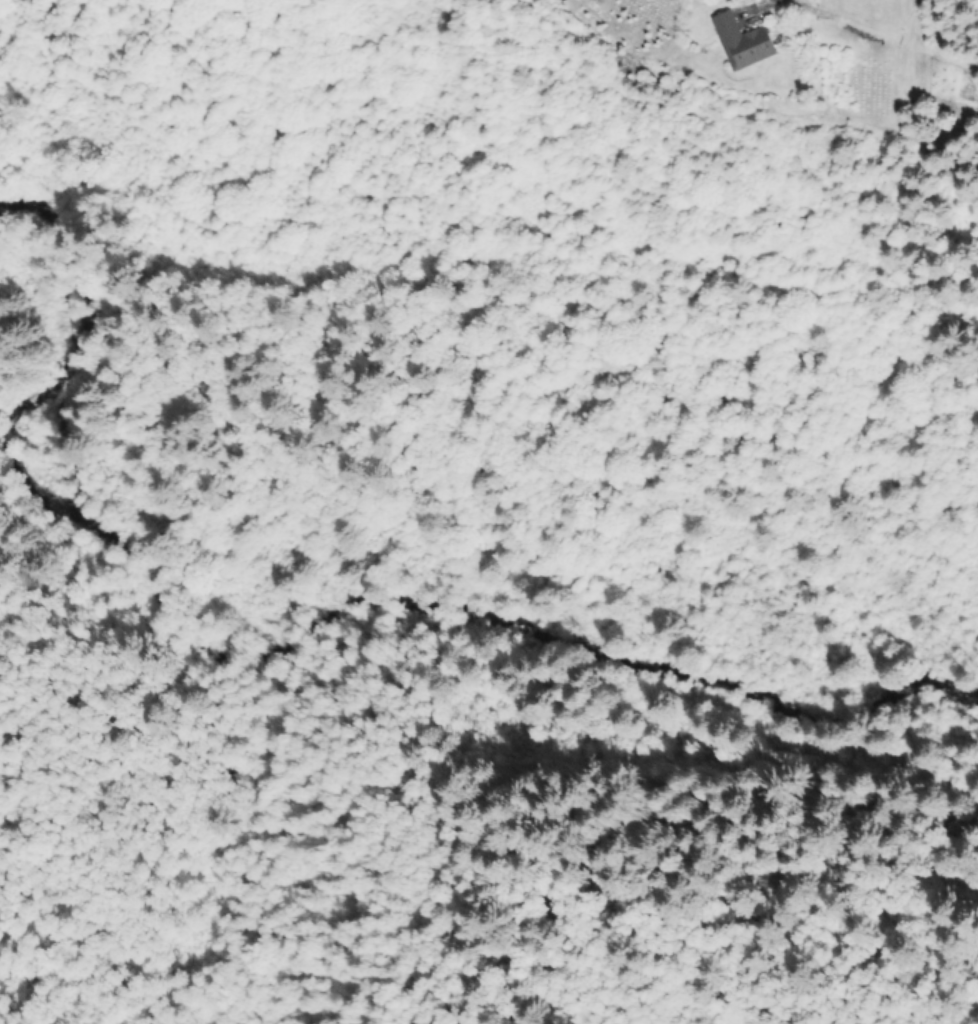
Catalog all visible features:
road: (975, 4)
building: (747, 41)

